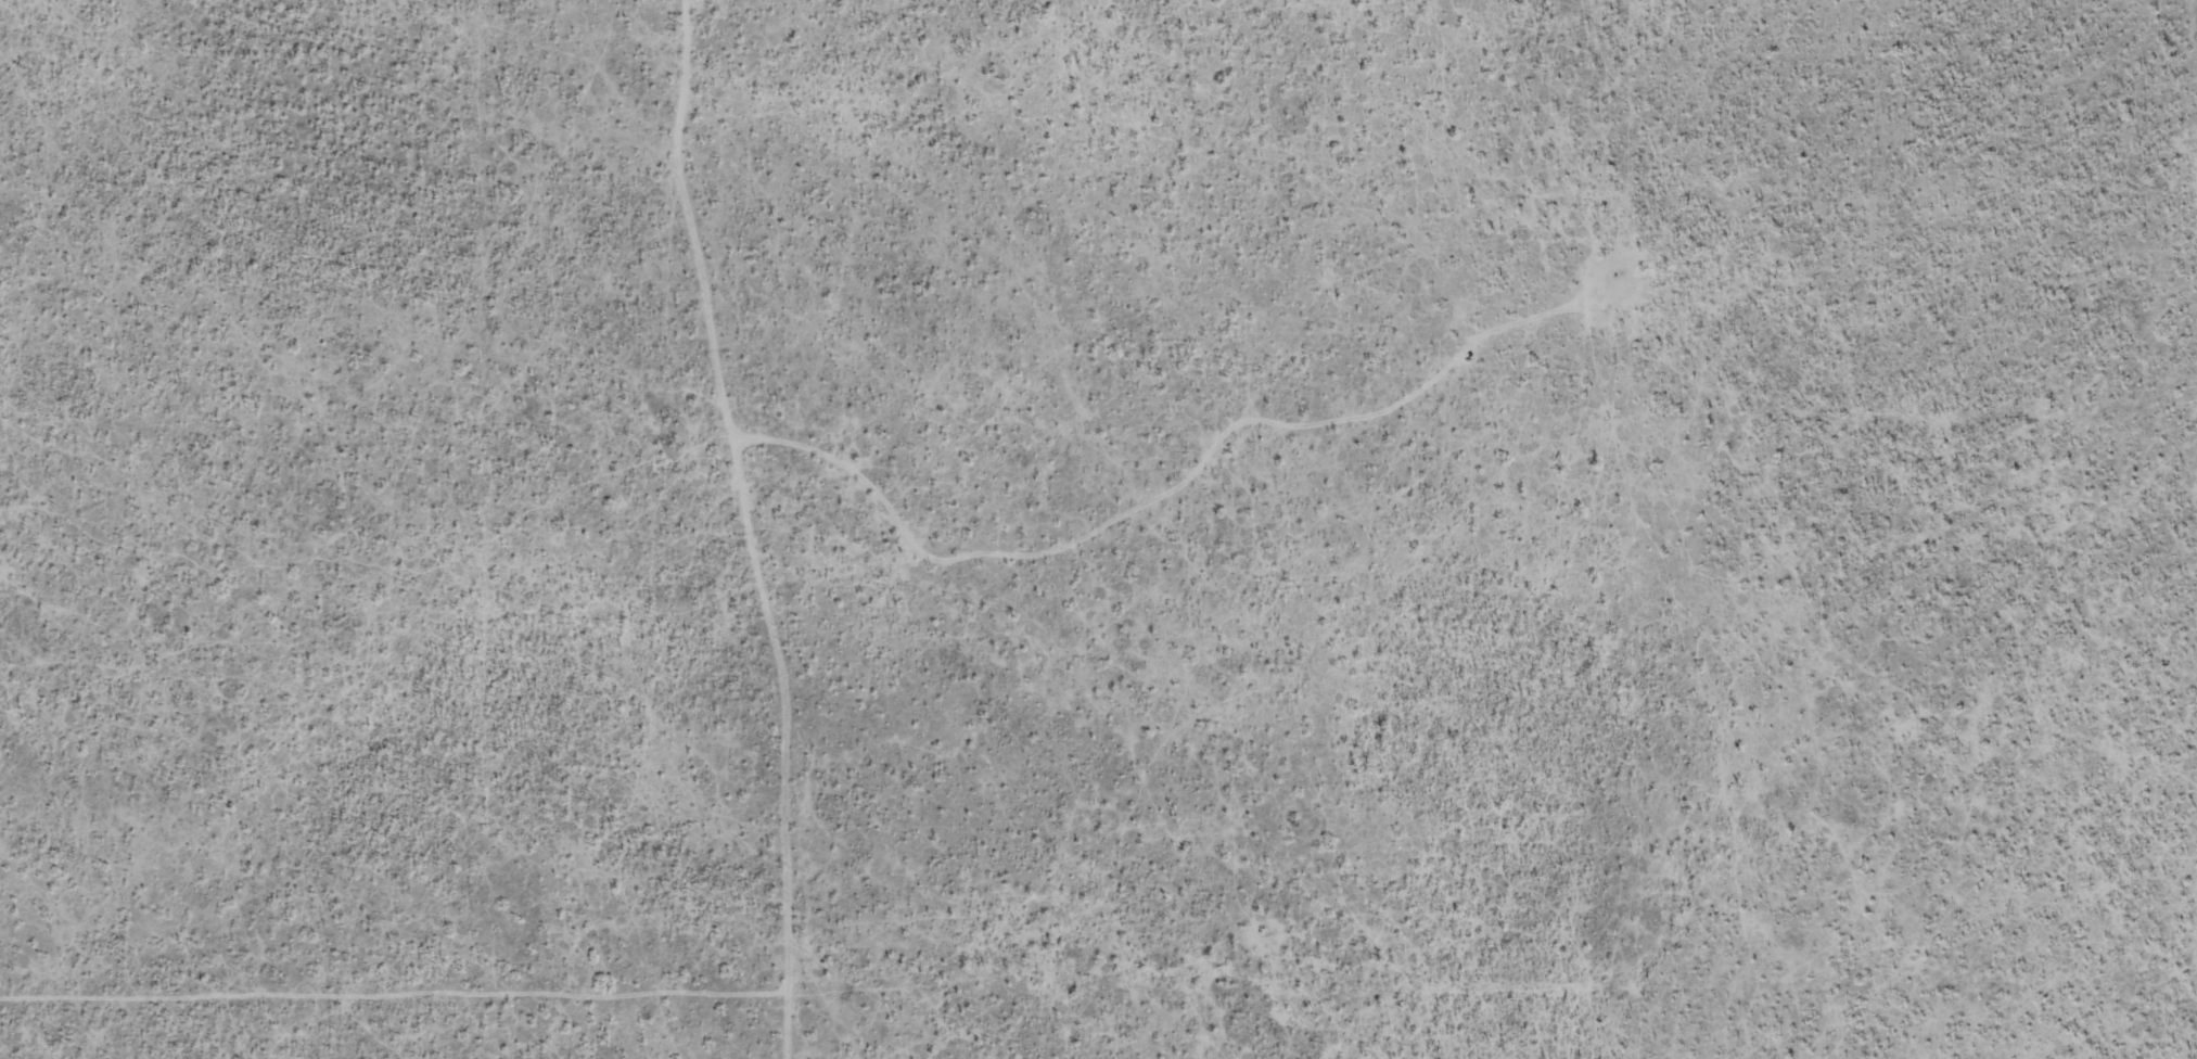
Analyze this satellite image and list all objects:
road: (777, 524)

